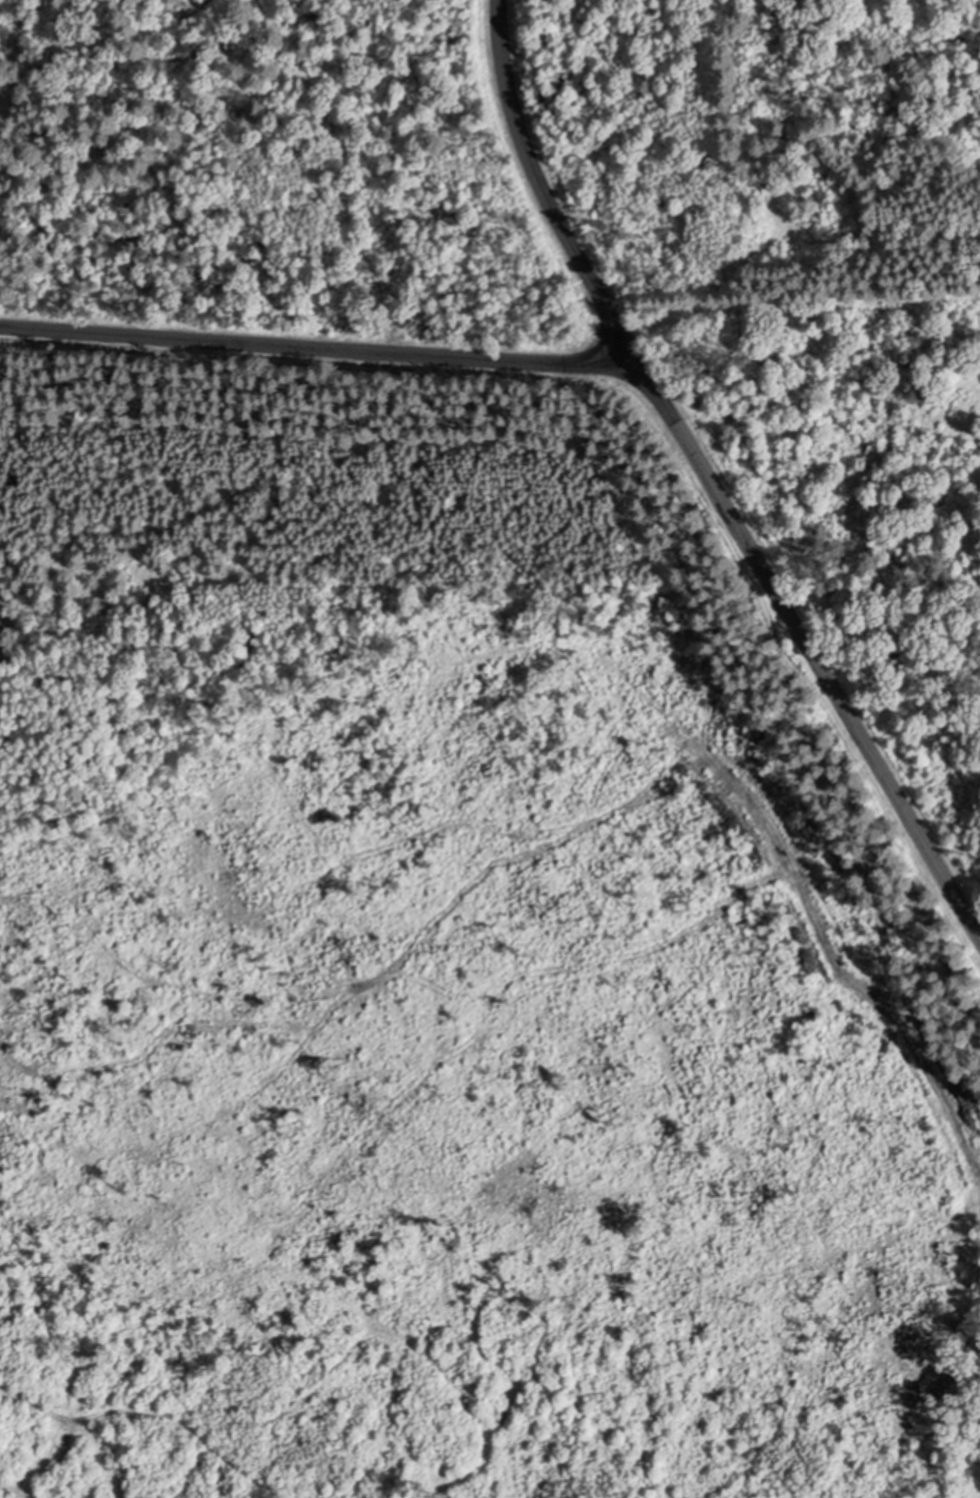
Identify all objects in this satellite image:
road: (448, 28)
road: (316, 345)
road: (707, 480)
road: (156, 1412)

